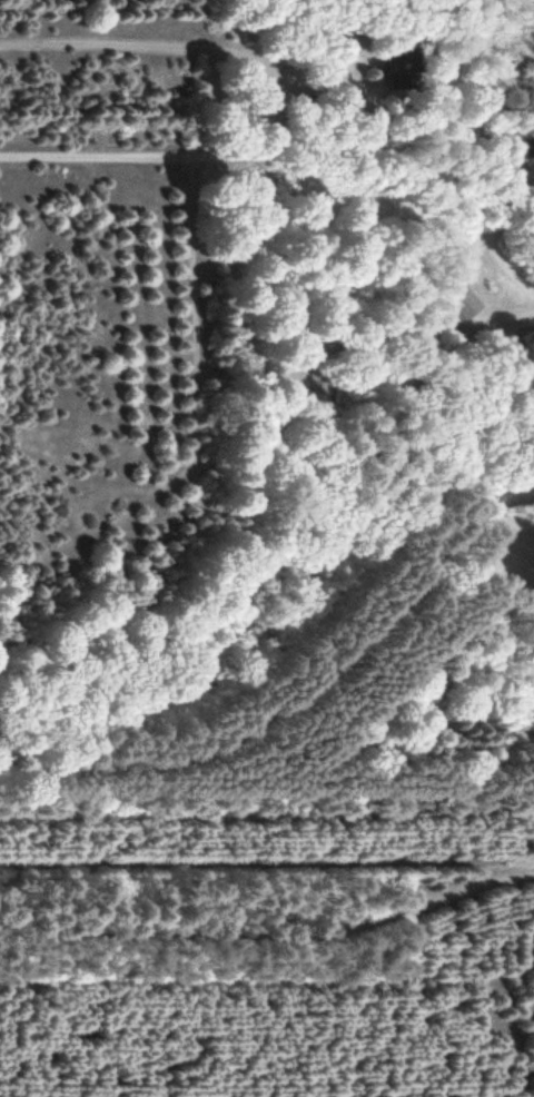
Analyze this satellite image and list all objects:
road: (233, 17)
building: (533, 139)
road: (297, 156)
building: (456, 300)
building: (308, 395)
building: (532, 458)
road: (267, 871)

